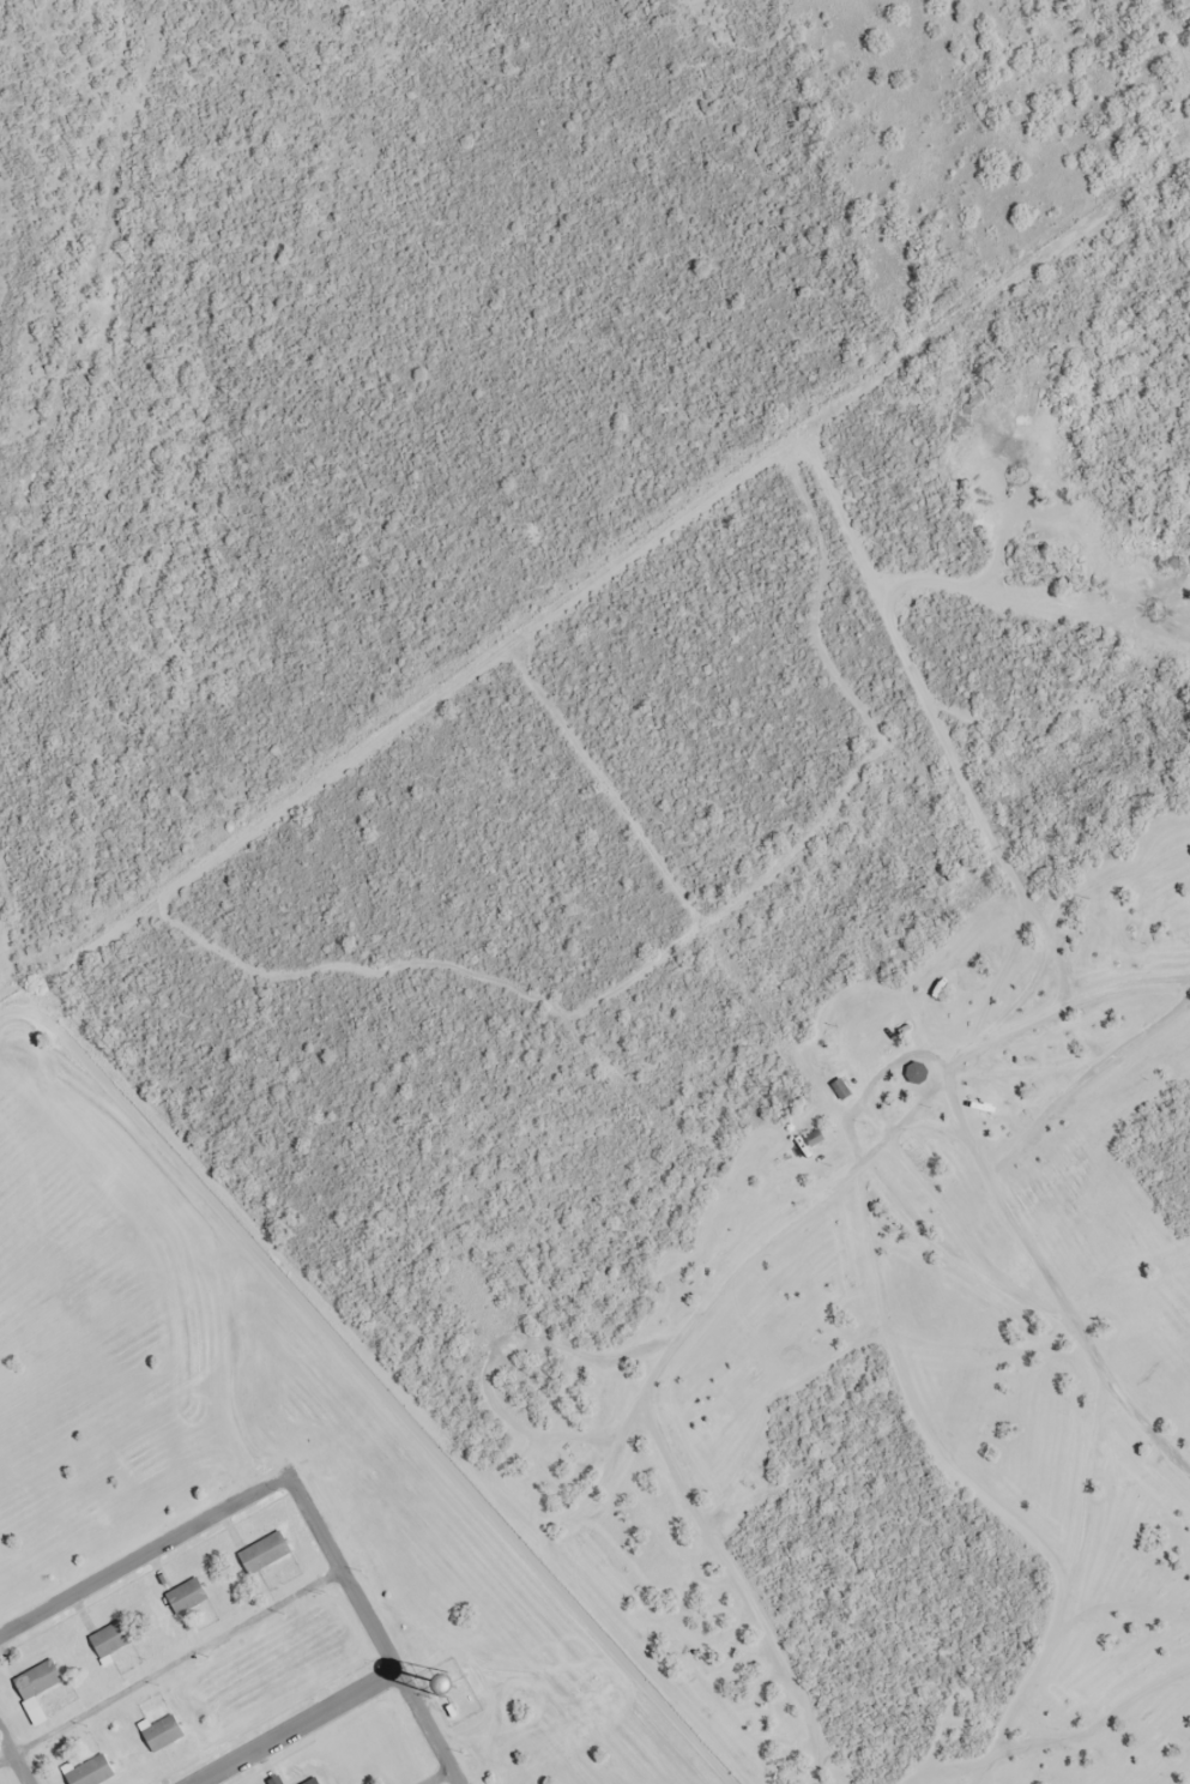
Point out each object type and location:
park: (779, 1060)
building: (840, 1081)
road: (1064, 1315)
building: (262, 1545)
road: (143, 1555)
building: (270, 1560)
road: (339, 1574)
building: (186, 1589)
building: (193, 1604)
building: (109, 1634)
building: (35, 1680)
road: (422, 1722)
building: (159, 1723)
road: (294, 1728)
building: (168, 1741)
road: (13, 1760)
building: (87, 1766)
road: (437, 1777)
road: (453, 1777)
building: (307, 1780)
building: (282, 1783)

